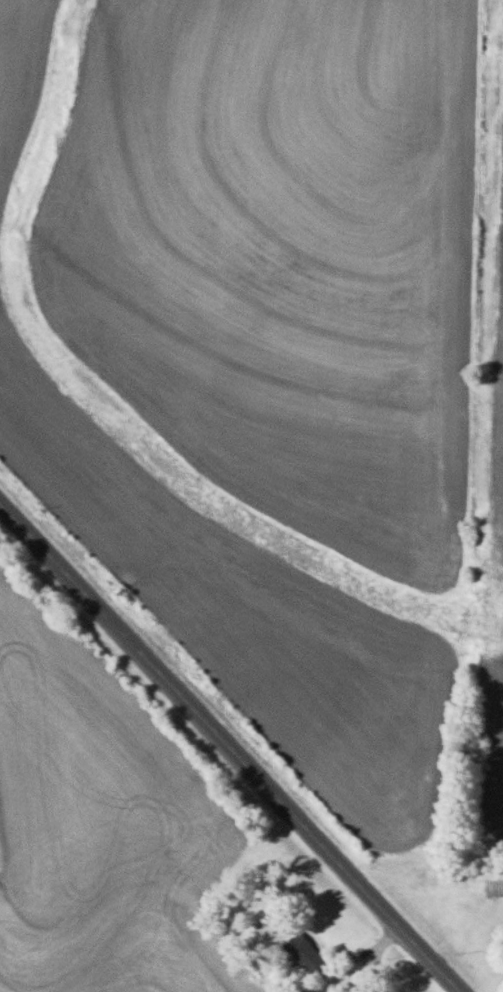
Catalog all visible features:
road: (229, 746)
building: (304, 952)
road: (362, 959)

